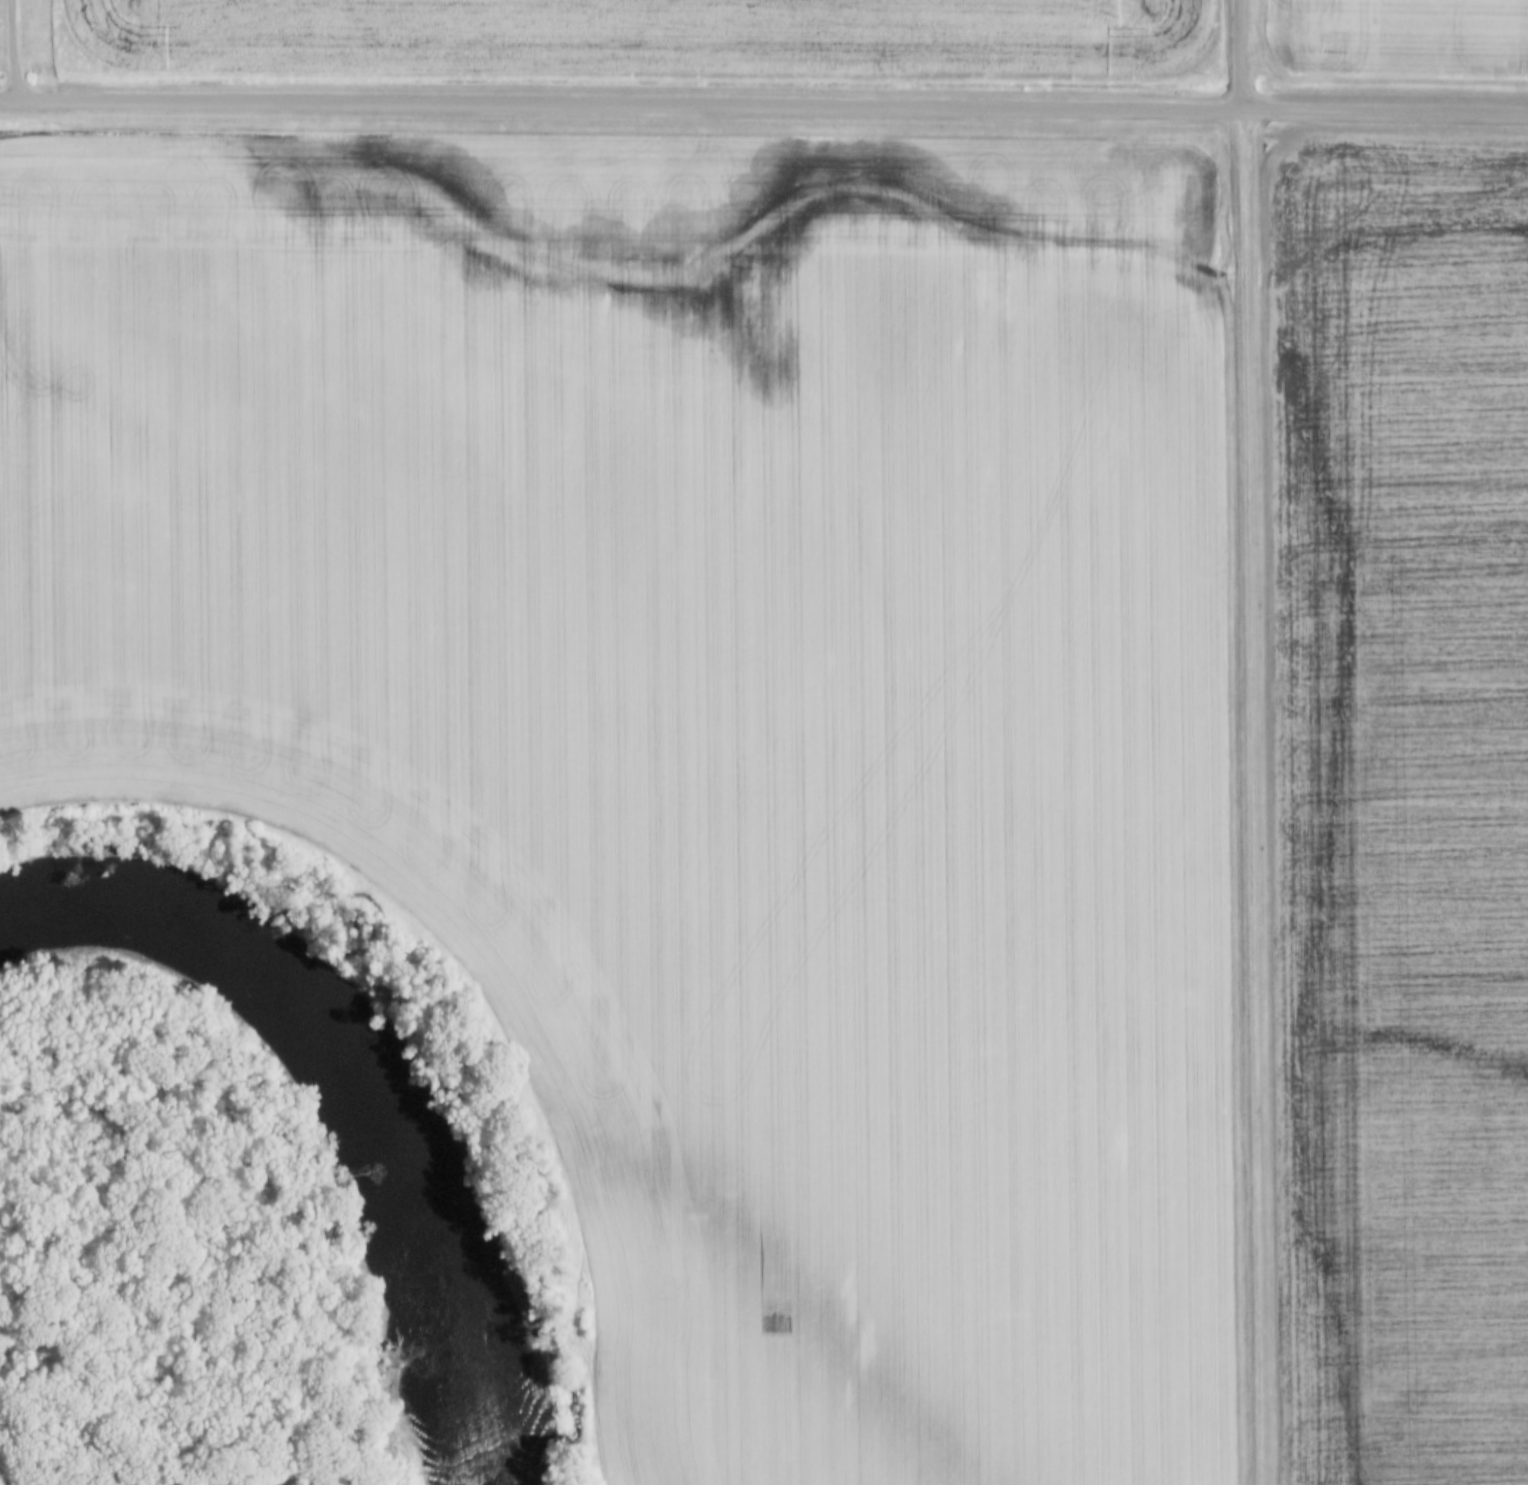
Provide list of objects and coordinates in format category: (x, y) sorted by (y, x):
road: (10, 49)
road: (1240, 55)
road: (621, 104)
road: (1385, 113)
road: (1249, 798)
river: (352, 1088)

